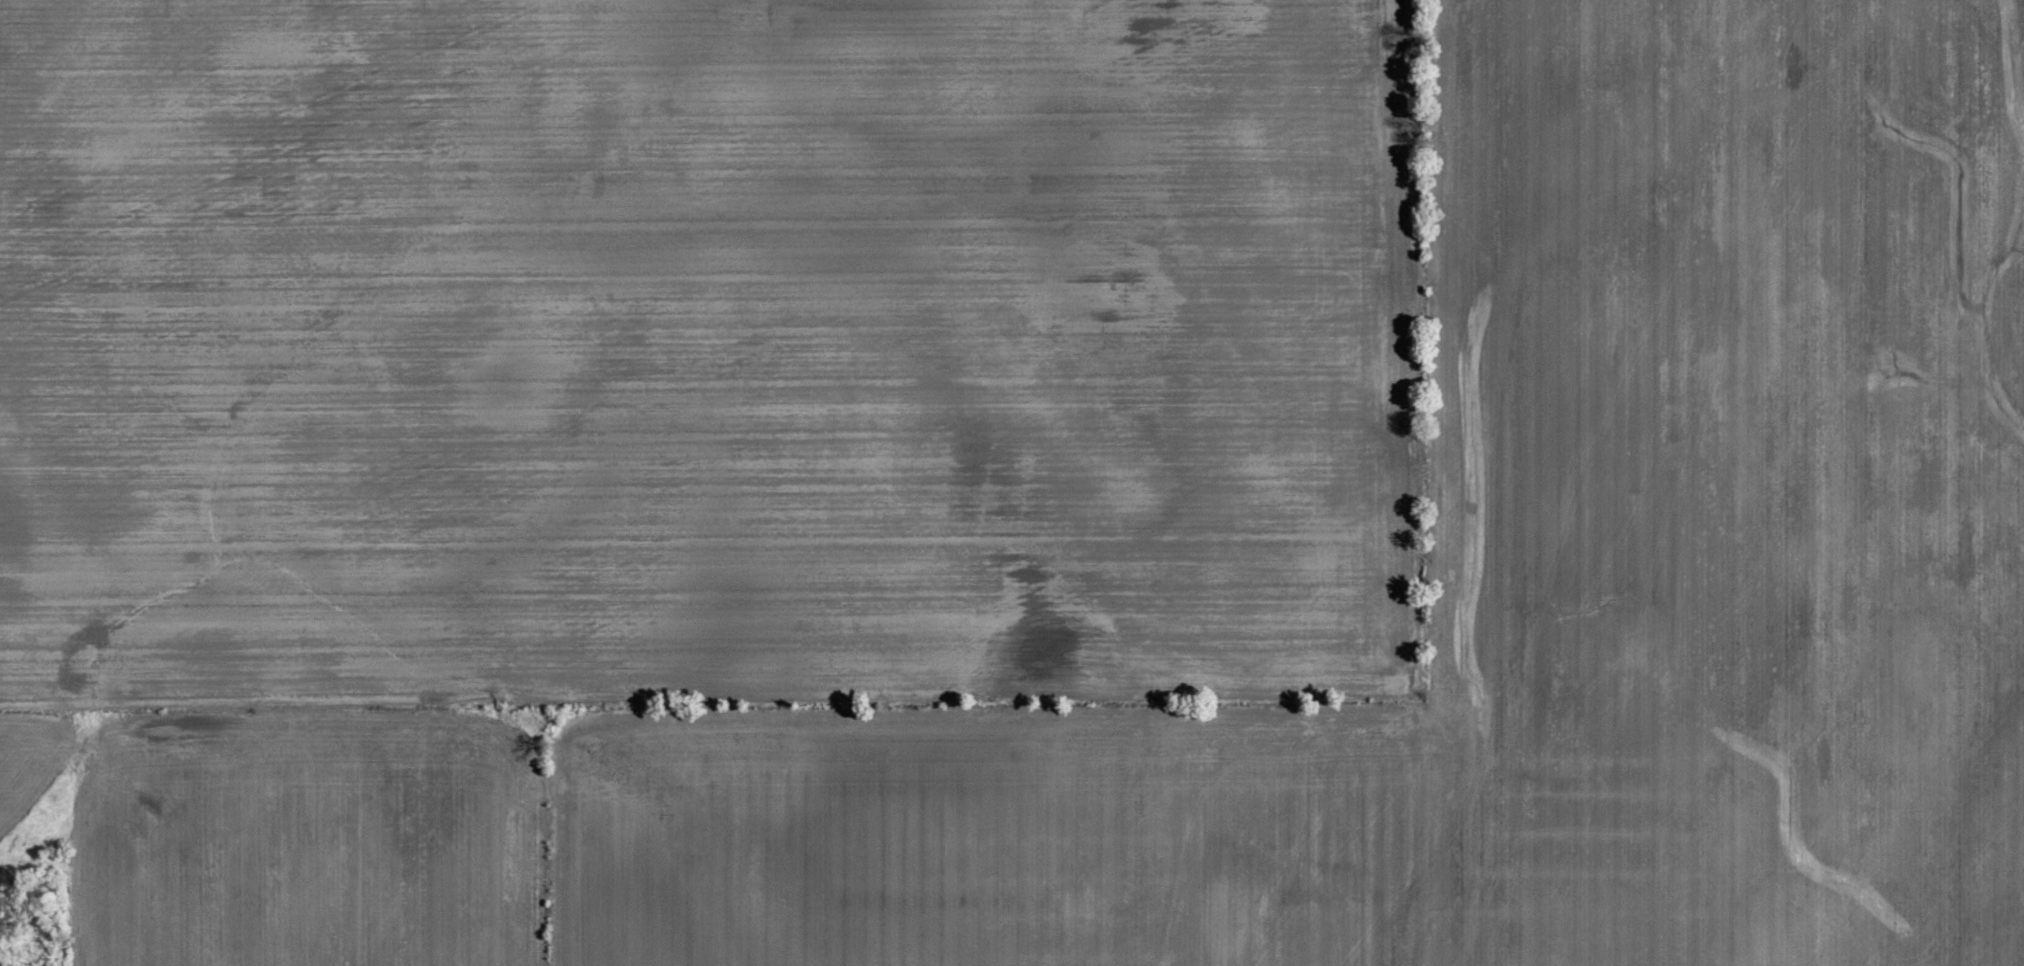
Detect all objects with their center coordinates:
crop: (711, 353)
crop: (1726, 487)

